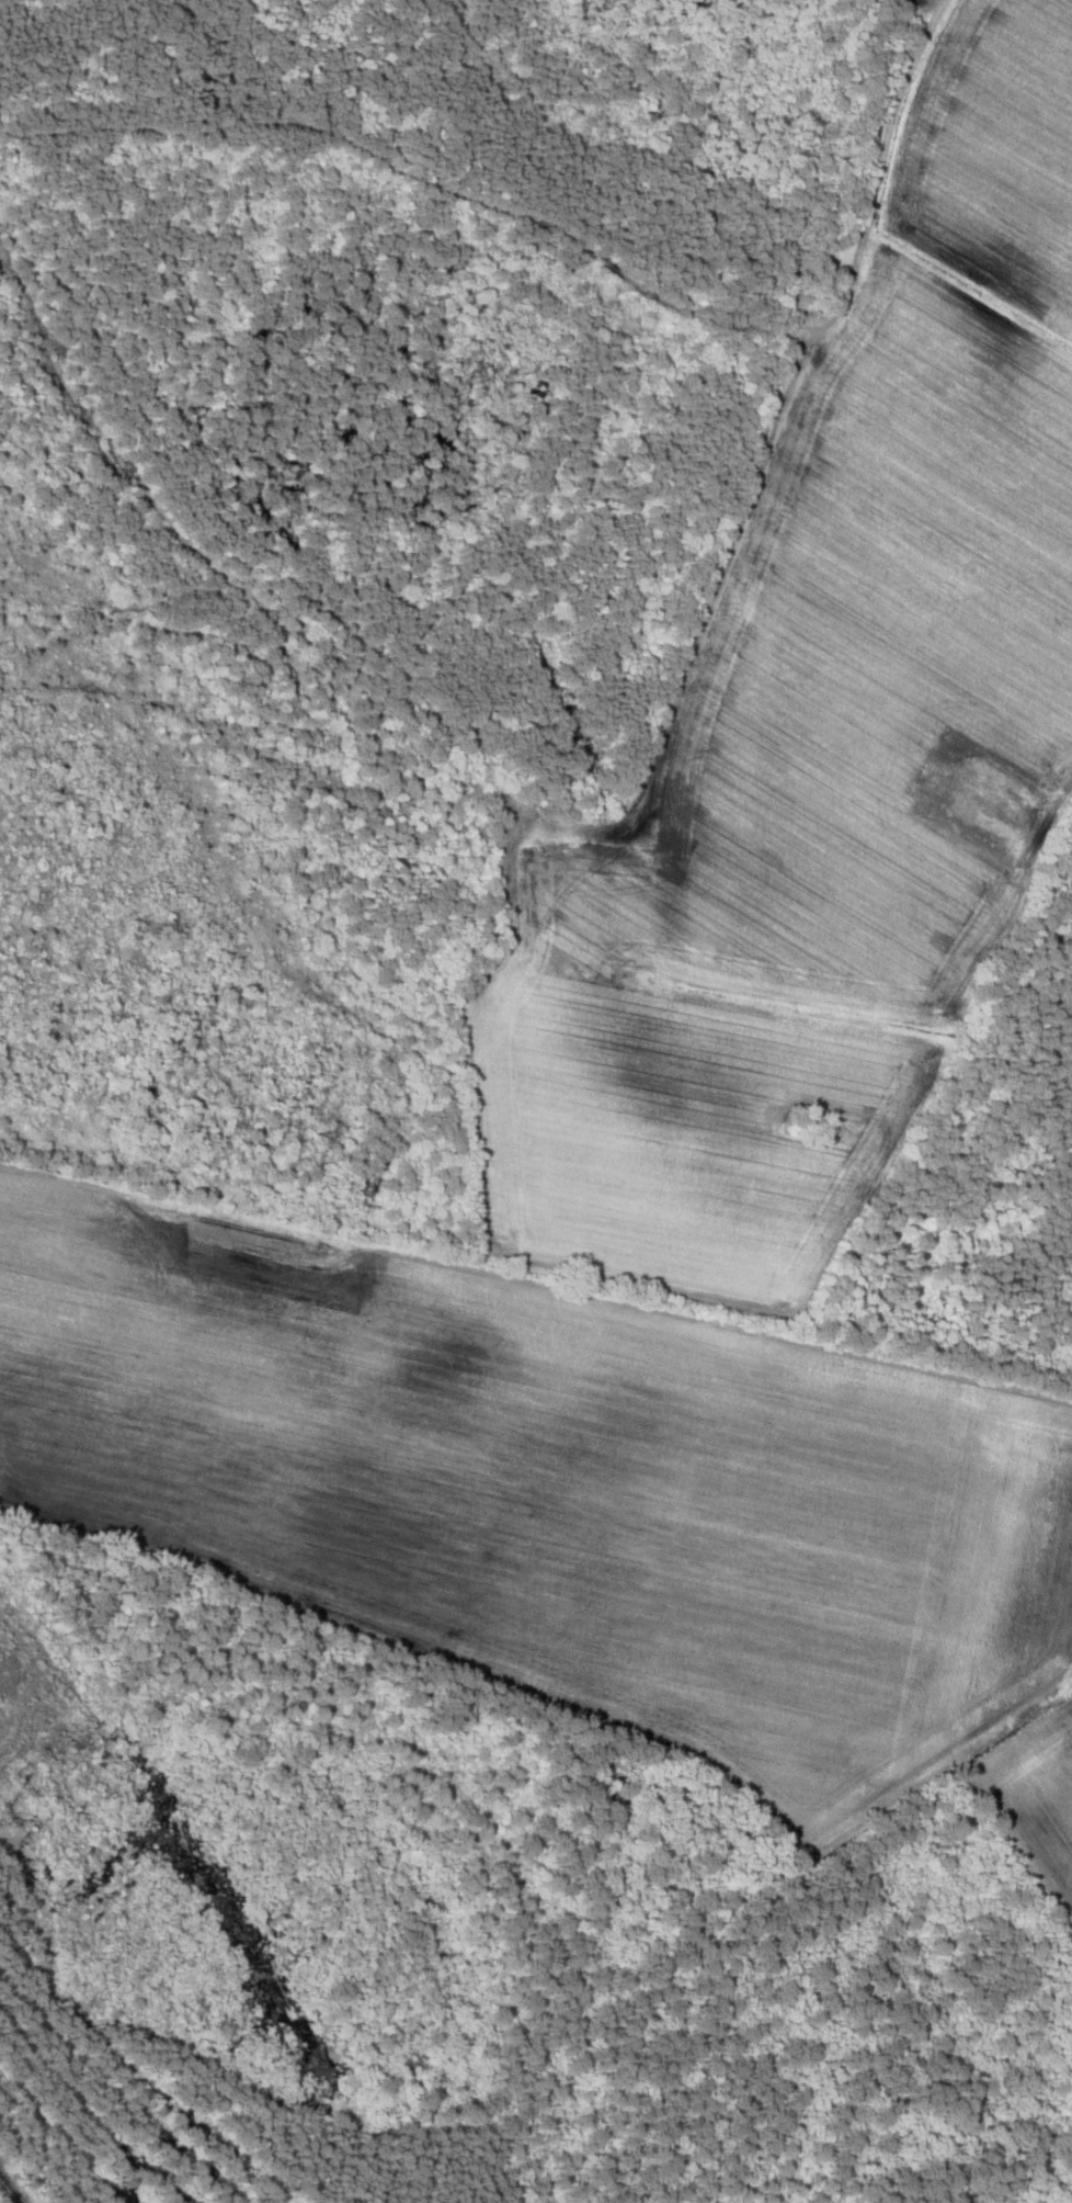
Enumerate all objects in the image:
road: (867, 492)

